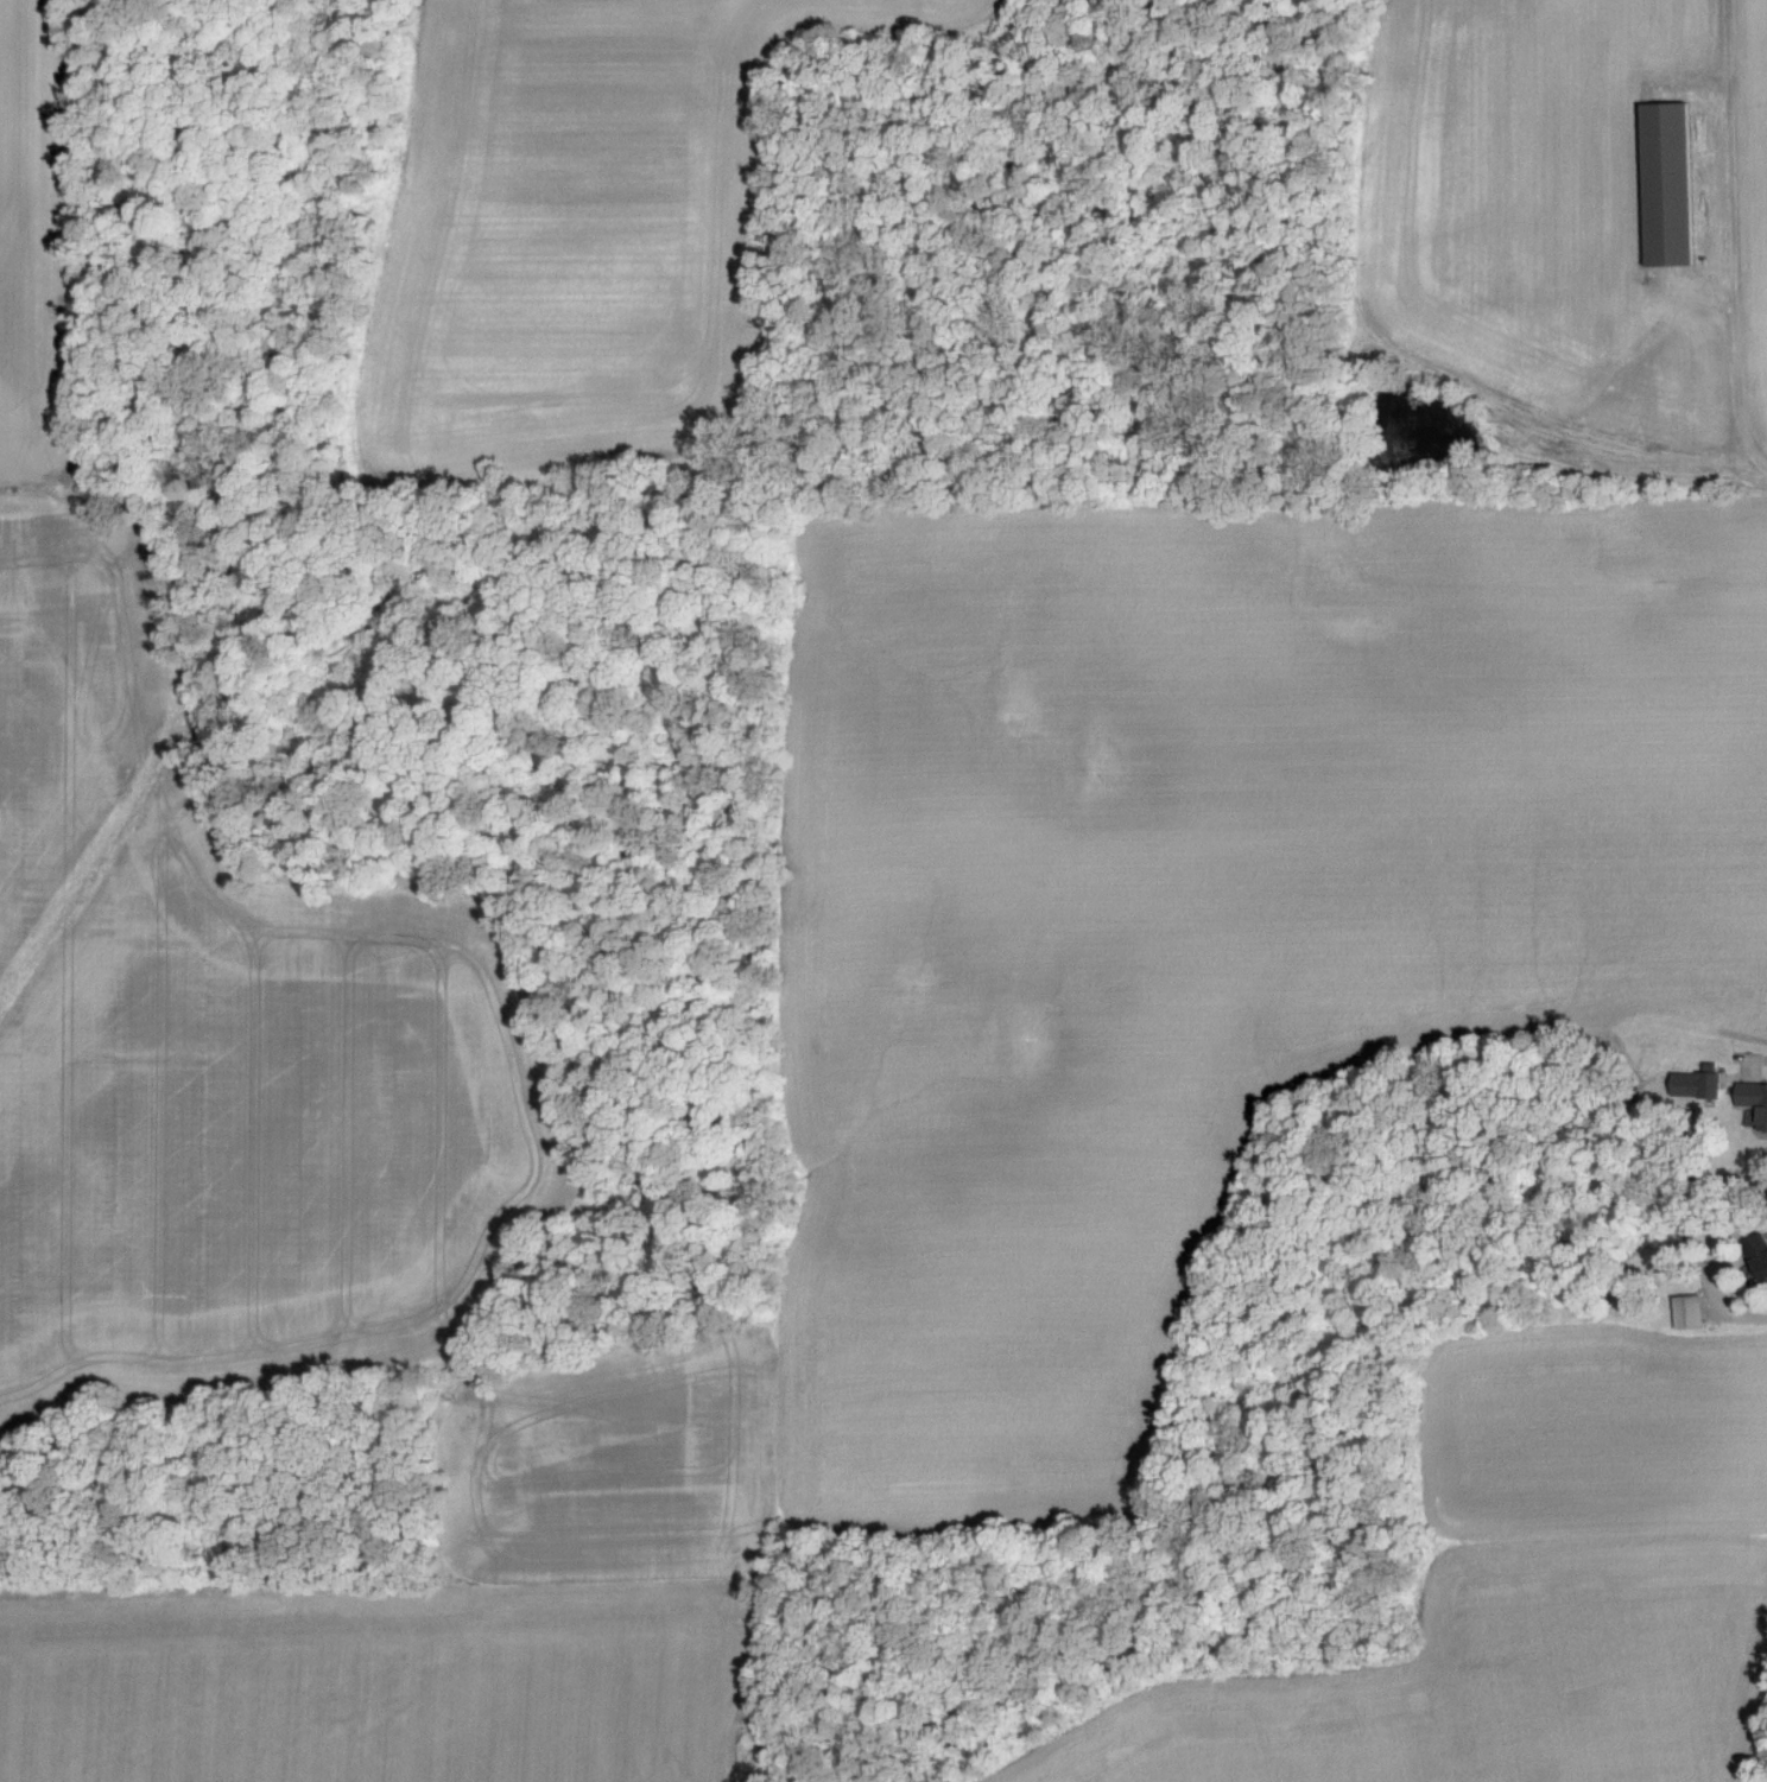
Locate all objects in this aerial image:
building: (1672, 185)
road: (1728, 239)
road: (1747, 1061)
building: (1753, 1109)
building: (1763, 1263)
building: (1691, 1313)
road: (1727, 1314)

